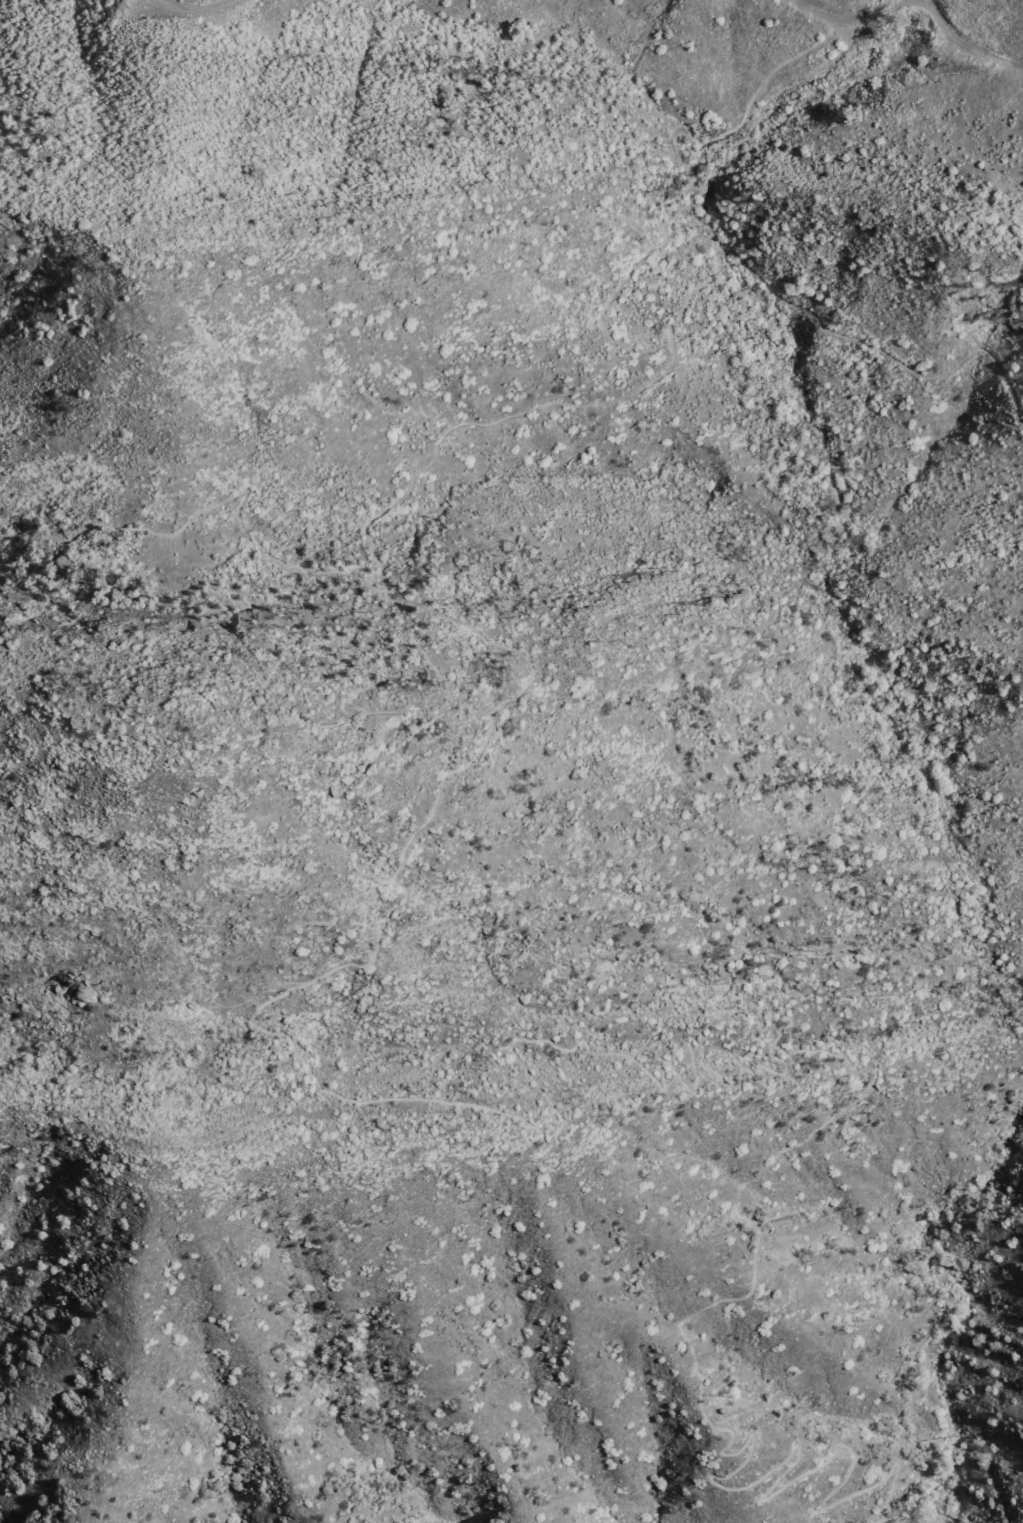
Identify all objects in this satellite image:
road: (192, 4)
road: (842, 10)
road: (963, 41)
road: (664, 209)
road: (504, 422)
road: (727, 1085)

